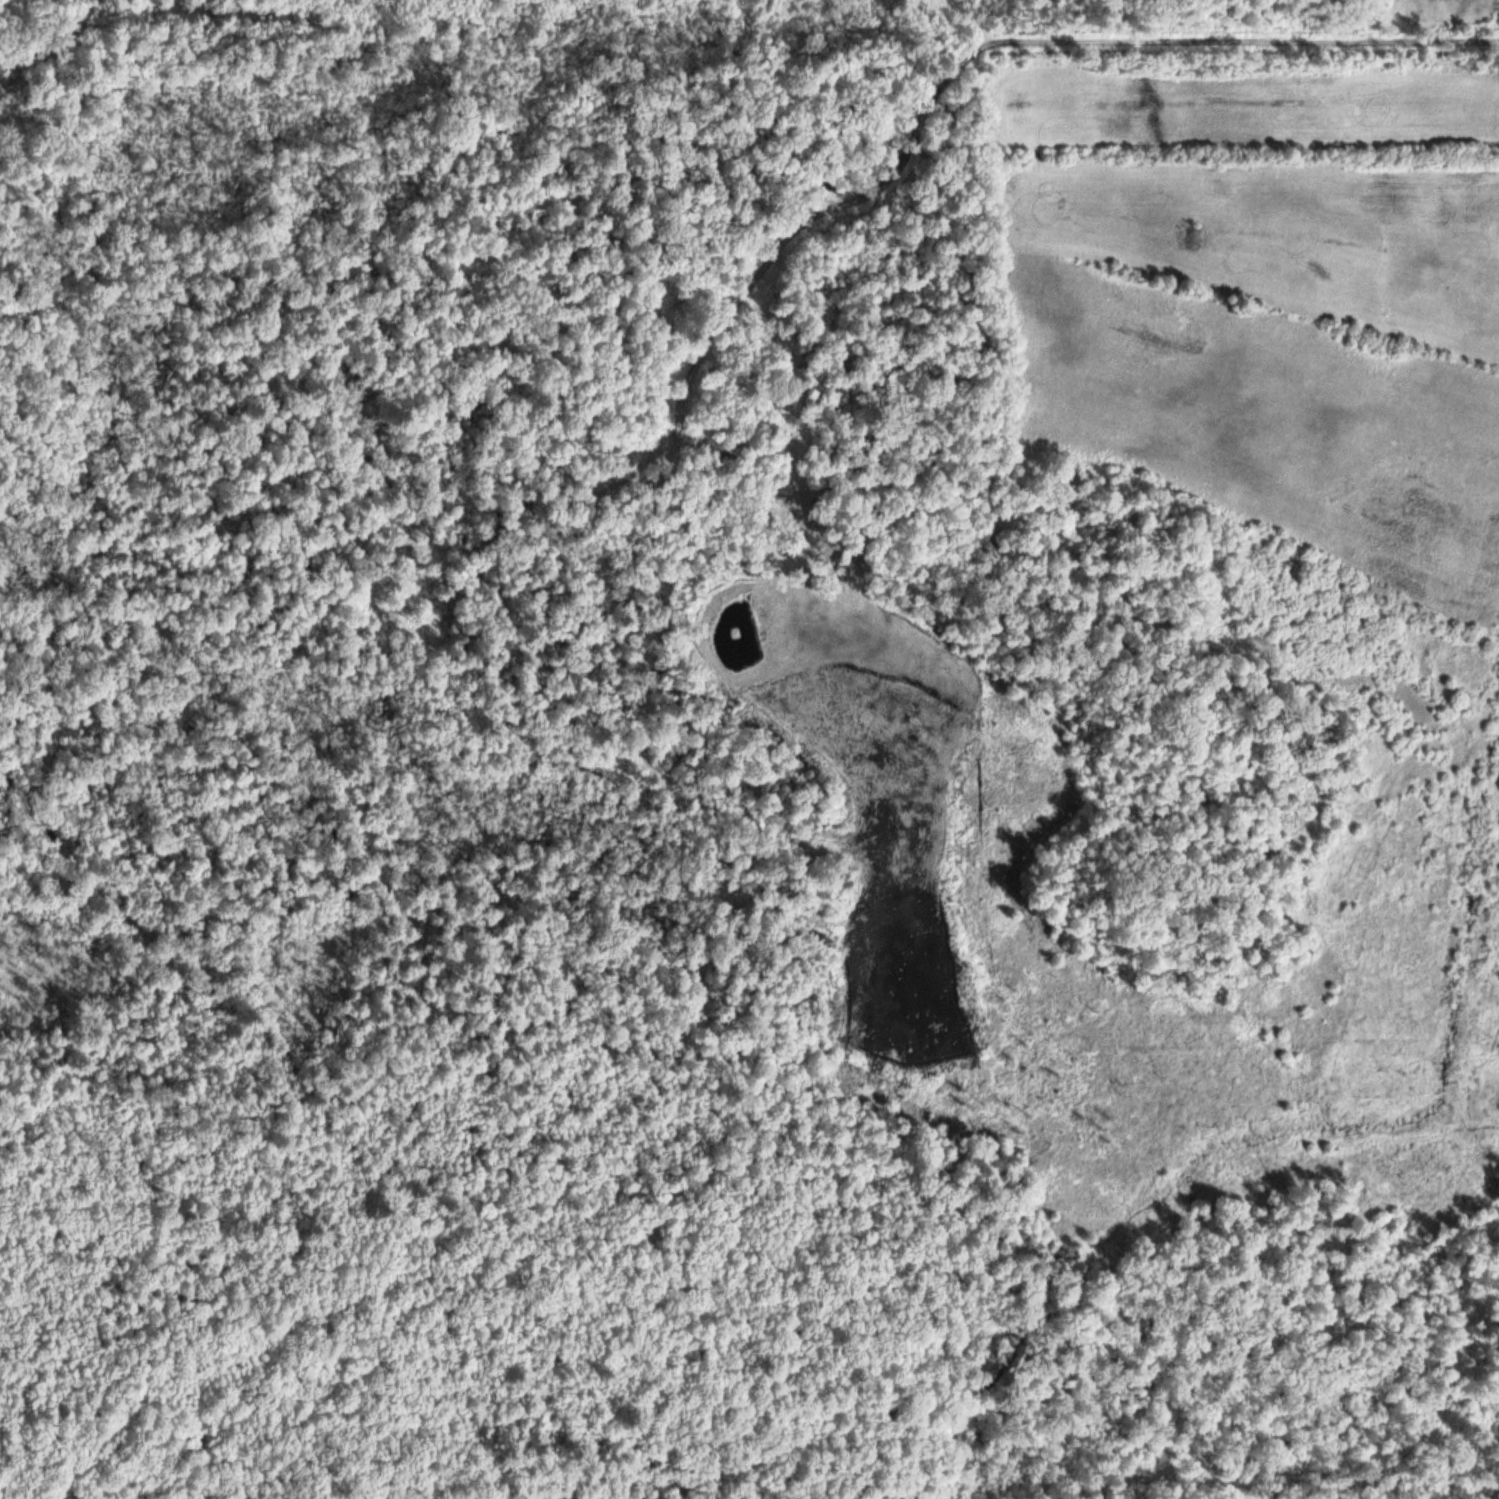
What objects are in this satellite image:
road: (983, 14)
road: (1242, 42)

